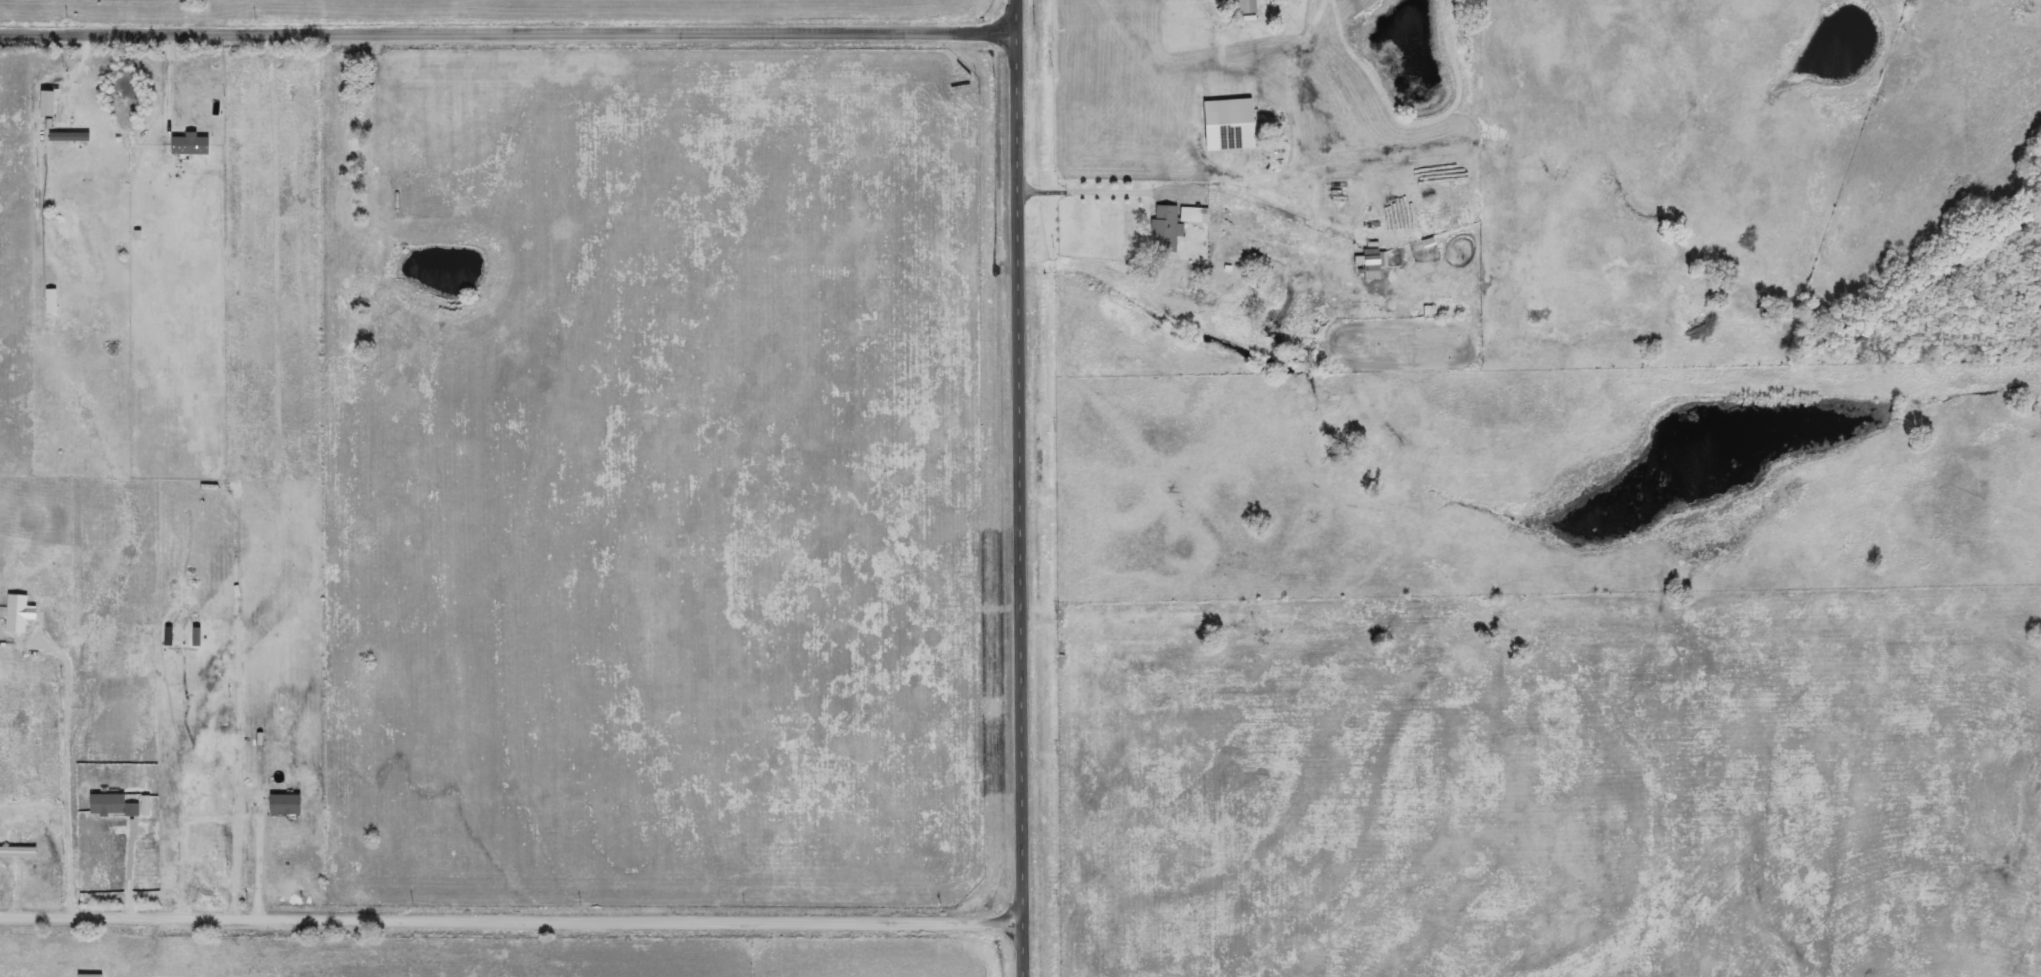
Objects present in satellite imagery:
building: (1228, 0)
building: (1249, 7)
road: (507, 34)
road: (173, 81)
building: (49, 104)
building: (1232, 125)
building: (71, 137)
building: (191, 144)
road: (1091, 193)
building: (1196, 215)
building: (1166, 229)
building: (1373, 264)
building: (53, 302)
road: (1019, 488)
building: (21, 614)
road: (66, 777)
road: (237, 785)
building: (109, 805)
building: (287, 805)
road: (181, 843)
road: (256, 869)
road: (130, 870)
road: (511, 922)
building: (91, 976)

